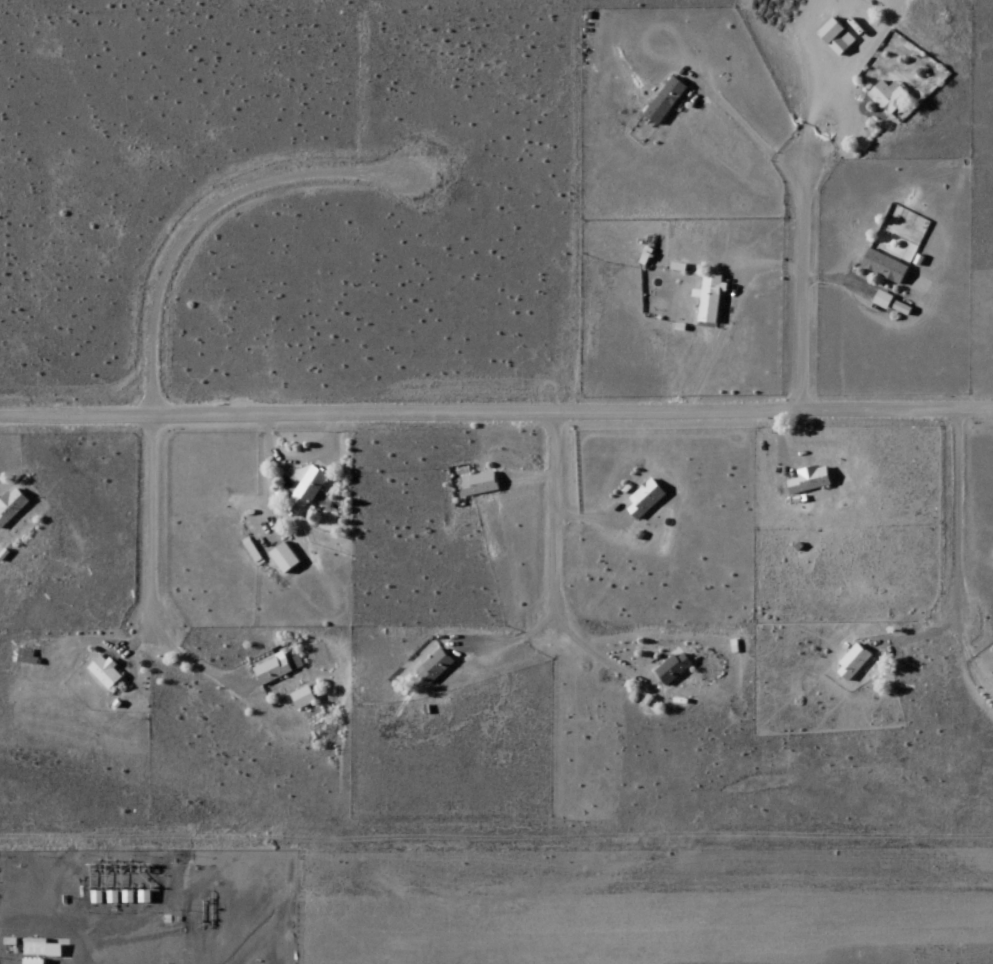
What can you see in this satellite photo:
building: (838, 38)
building: (890, 98)
building: (667, 102)
road: (757, 140)
building: (886, 267)
road: (839, 283)
road: (802, 285)
building: (712, 301)
road: (156, 303)
road: (728, 319)
road: (496, 413)
road: (311, 456)
road: (264, 458)
road: (532, 479)
building: (812, 481)
building: (480, 484)
building: (306, 493)
building: (647, 500)
building: (12, 507)
road: (956, 509)
road: (583, 515)
road: (554, 518)
building: (286, 560)
road: (562, 628)
building: (29, 657)
building: (854, 663)
building: (436, 668)
building: (675, 670)
building: (273, 671)
building: (107, 673)
building: (304, 699)
building: (42, 950)

